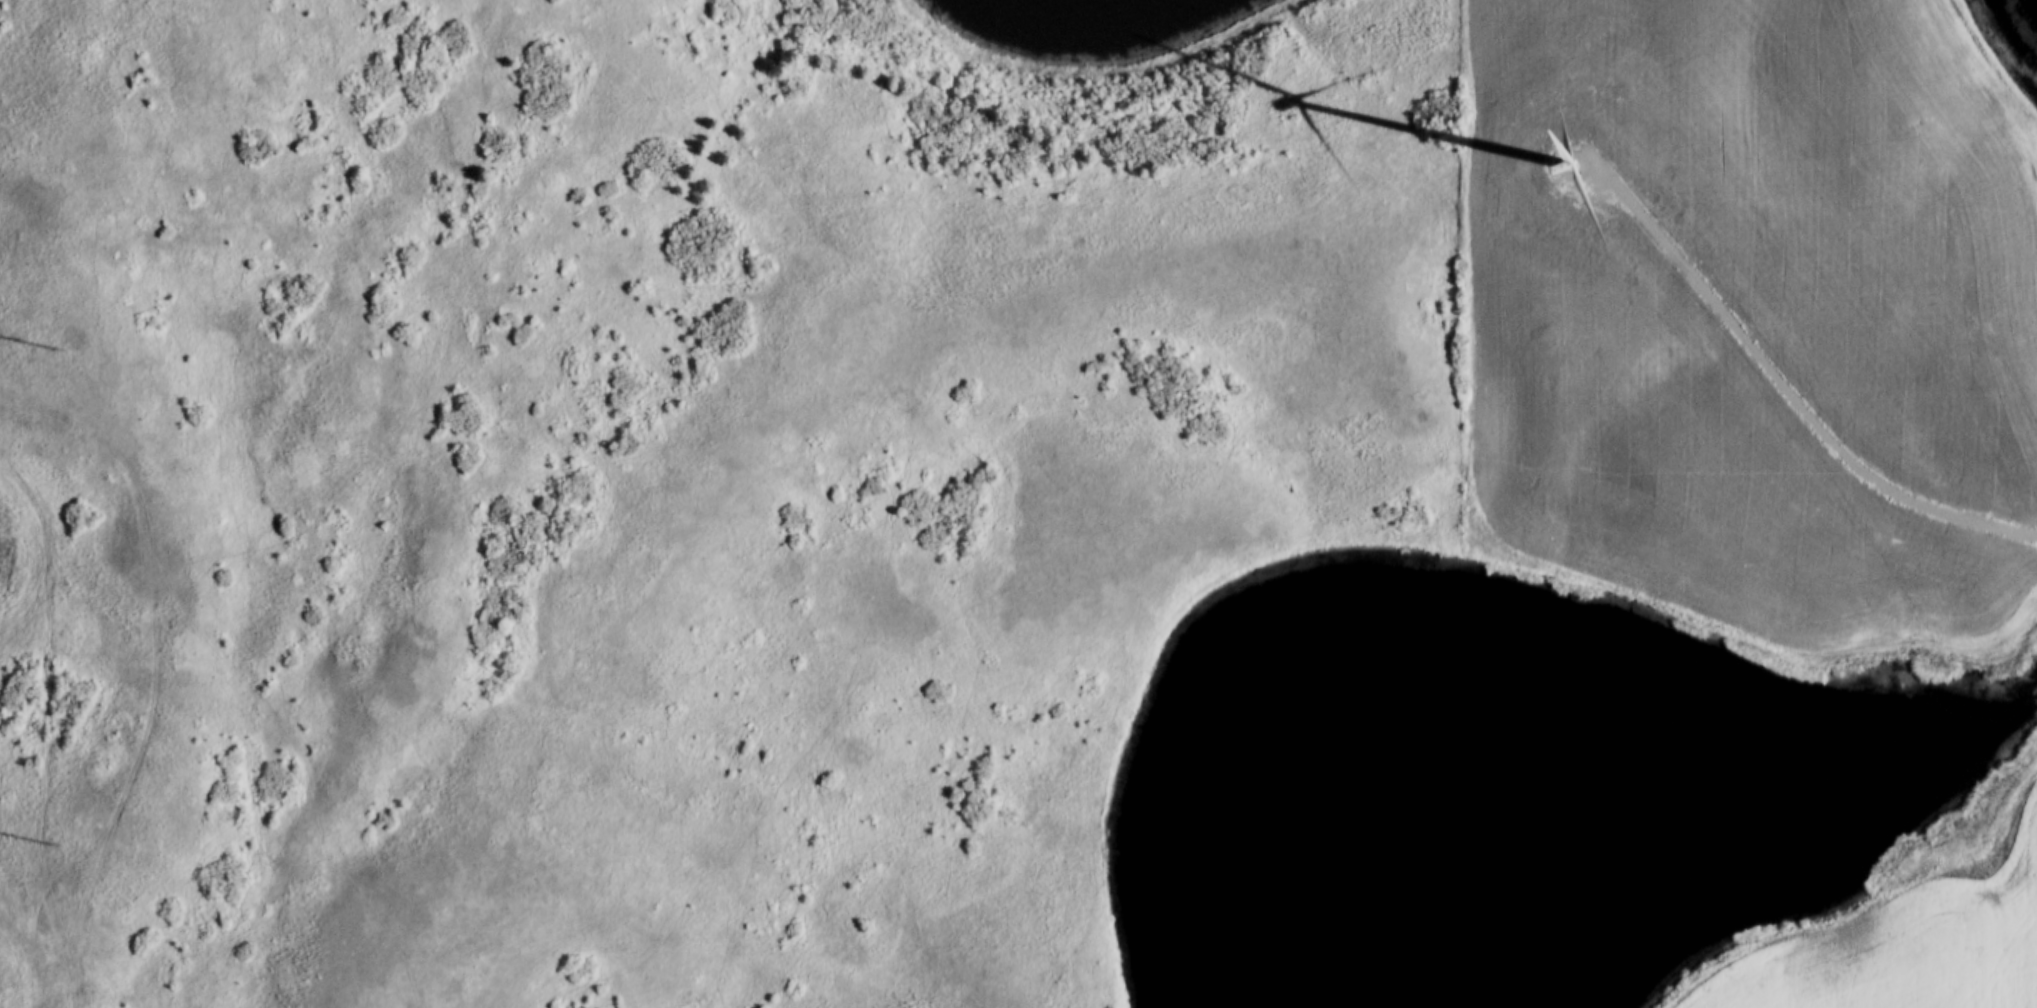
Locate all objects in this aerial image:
wind turbine: (1571, 169)
road: (1793, 405)

